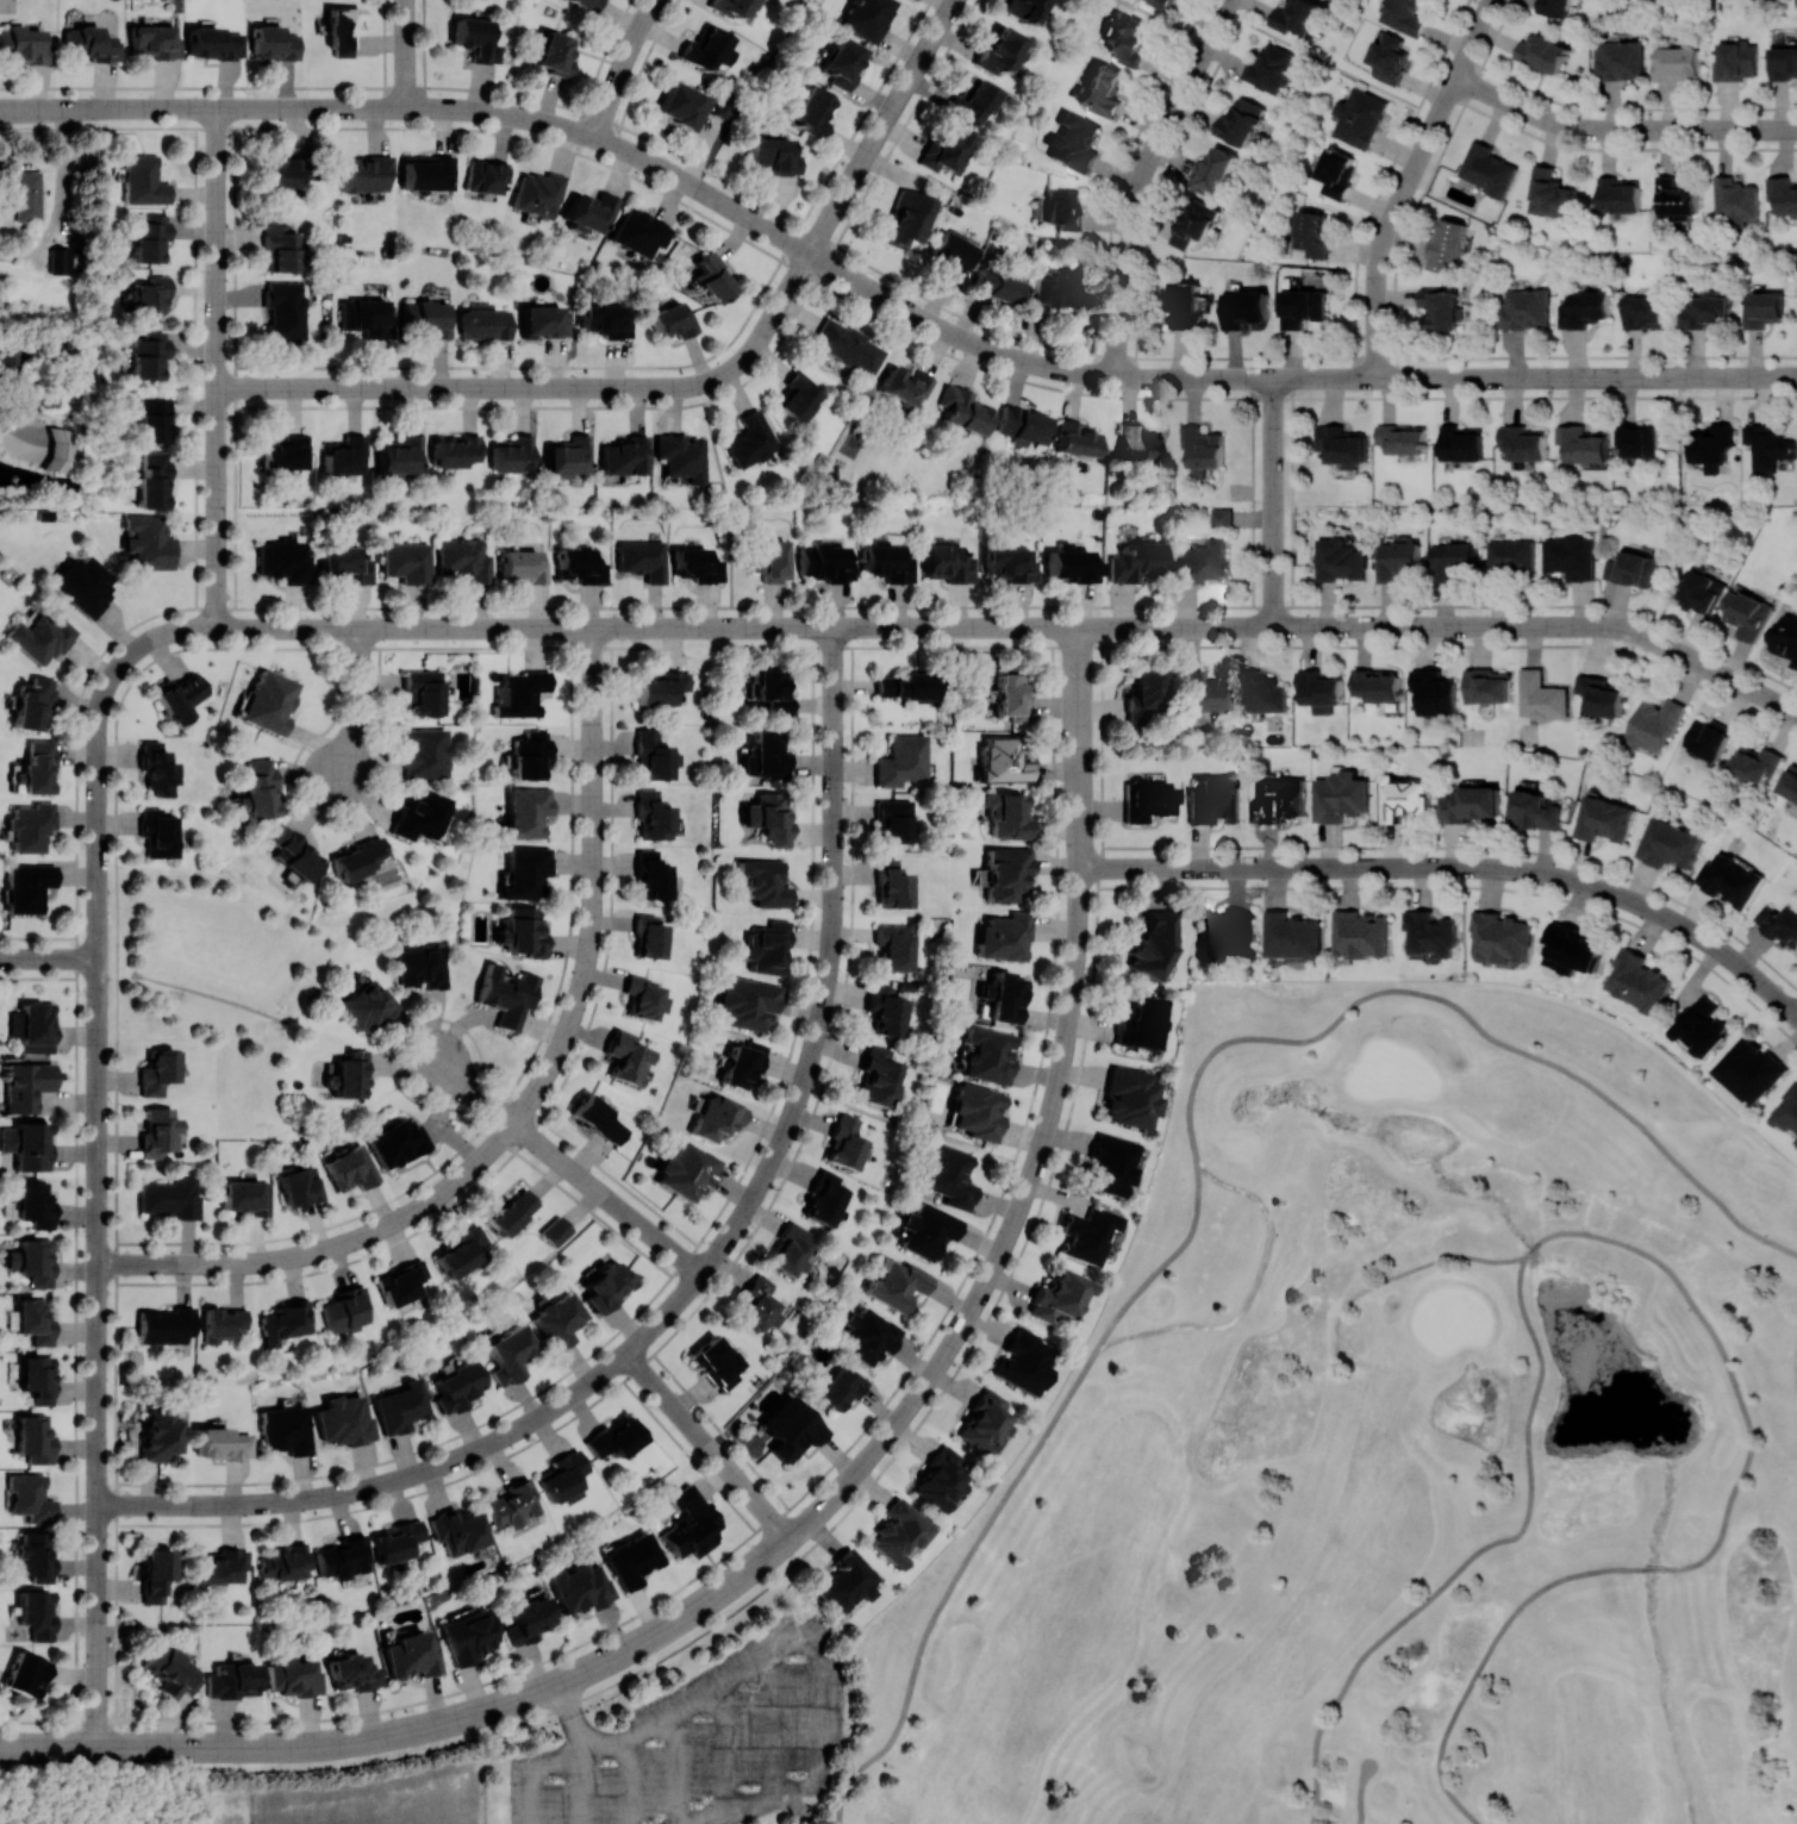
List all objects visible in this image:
building: (1160, 2)
building: (588, 4)
building: (1555, 7)
building: (1025, 8)
building: (1296, 15)
building: (1404, 15)
building: (868, 17)
road: (1154, 17)
building: (342, 31)
building: (1129, 38)
building: (475, 39)
building: (156, 40)
building: (273, 42)
building: (21, 43)
building: (92, 43)
building: (213, 43)
building: (709, 48)
building: (1000, 51)
building: (1542, 51)
building: (554, 52)
road: (407, 54)
building: (1387, 58)
building: (1617, 60)
building: (1734, 61)
building: (842, 62)
road: (1328, 62)
building: (1677, 63)
building: (1783, 63)
road: (623, 65)
building: (1269, 68)
building: (1103, 89)
building: (973, 101)
building: (684, 105)
road: (350, 107)
road: (30, 108)
road: (79, 108)
road: (201, 108)
building: (812, 111)
building: (1358, 117)
building: (1240, 121)
road: (885, 126)
road: (1620, 127)
building: (1074, 140)
building: (946, 151)
building: (774, 155)
building: (1213, 169)
building: (1487, 169)
building: (282, 170)
building: (364, 173)
building: (426, 173)
building: (1335, 173)
building: (485, 175)
road: (1117, 176)
road: (1140, 177)
road: (1158, 179)
building: (143, 180)
road: (1406, 182)
building: (538, 193)
building: (1549, 194)
building: (1783, 194)
building: (25, 195)
building: (1618, 195)
building: (1676, 198)
road: (60, 199)
building: (1733, 202)
building: (1063, 208)
building: (589, 211)
building: (907, 218)
building: (1194, 223)
building: (639, 232)
building: (1312, 232)
road: (785, 237)
building: (150, 238)
building: (1447, 245)
building: (280, 246)
road: (218, 248)
building: (953, 254)
building: (60, 258)
building: (712, 277)
building: (997, 286)
building: (1053, 288)
building: (151, 295)
building: (1184, 305)
building: (1302, 307)
building: (1442, 307)
building: (1243, 308)
building: (1524, 308)
building: (1583, 308)
building: (1703, 308)
building: (1762, 308)
building: (285, 311)
building: (1643, 312)
building: (366, 316)
building: (430, 318)
building: (607, 319)
building: (545, 320)
building: (673, 320)
building: (486, 321)
building: (848, 345)
building: (148, 354)
road: (1506, 376)
road: (1194, 379)
building: (905, 386)
road: (548, 387)
building: (798, 396)
building: (963, 410)
building: (154, 419)
building: (1022, 425)
building: (1078, 438)
building: (1402, 438)
building: (1636, 441)
building: (753, 442)
building: (1521, 442)
building: (1460, 443)
building: (1581, 443)
building: (1140, 444)
building: (1341, 445)
building: (1711, 445)
road: (218, 446)
building: (1767, 446)
building: (63, 449)
building: (1203, 449)
building: (455, 450)
building: (286, 452)
building: (513, 454)
building: (344, 455)
building: (401, 455)
building: (568, 456)
building: (625, 456)
building: (681, 456)
building: (152, 480)
road: (1677, 501)
road: (1269, 502)
road: (732, 504)
building: (1221, 517)
building: (148, 541)
building: (1511, 556)
building: (1571, 557)
building: (466, 558)
building: (643, 558)
building: (770, 558)
building: (1398, 558)
building: (1135, 560)
building: (1340, 560)
building: (1454, 560)
building: (285, 561)
building: (407, 561)
building: (887, 561)
building: (1199, 561)
building: (347, 562)
building: (825, 562)
building: (949, 563)
building: (1011, 563)
building: (1072, 563)
building: (581, 564)
building: (699, 564)
building: (524, 566)
road: (218, 567)
building: (1633, 569)
building: (85, 583)
building: (1702, 589)
building: (1746, 613)
road: (1496, 626)
road: (706, 627)
road: (1171, 627)
road: (232, 629)
road: (183, 630)
building: (1785, 637)
building: (40, 638)
road: (835, 675)
road: (1080, 679)
building: (906, 685)
building: (1375, 685)
building: (660, 686)
building: (1486, 686)
building: (1319, 689)
building: (770, 691)
building: (1434, 691)
building: (423, 692)
building: (522, 693)
building: (1144, 694)
building: (1263, 694)
building: (179, 695)
building: (1204, 695)
building: (1540, 695)
building: (1599, 695)
building: (1012, 697)
building: (269, 701)
building: (32, 704)
road: (360, 706)
building: (1653, 725)
road: (835, 726)
road: (1080, 738)
building: (1706, 738)
road: (99, 743)
building: (425, 752)
building: (768, 754)
building: (530, 755)
building: (655, 756)
building: (1003, 760)
building: (903, 761)
building: (1754, 764)
building: (37, 767)
building: (157, 768)
building: (1790, 782)
building: (258, 788)
building: (1340, 797)
building: (1403, 798)
building: (1148, 799)
building: (1213, 800)
building: (1278, 800)
building: (1468, 804)
road: (1080, 807)
building: (1535, 810)
building: (526, 812)
building: (419, 814)
building: (654, 816)
building: (1006, 816)
building: (768, 818)
building: (1604, 819)
building: (894, 820)
building: (30, 826)
building: (157, 832)
building: (1668, 844)
building: (293, 854)
building: (357, 857)
road: (1133, 868)
road: (1188, 868)
road: (1516, 870)
building: (525, 872)
building: (1006, 872)
building: (651, 875)
building: (1729, 880)
building: (765, 882)
building: (892, 885)
building: (26, 886)
road: (1470, 886)
building: (1779, 923)
building: (523, 930)
building: (1430, 932)
road: (1462, 932)
building: (1361, 933)
building: (1225, 935)
building: (650, 936)
building: (1292, 936)
building: (1004, 937)
building: (1499, 938)
building: (1152, 944)
building: (893, 947)
building: (768, 948)
building: (1571, 949)
road: (99, 954)
road: (49, 957)
building: (419, 966)
park: (229, 968)
building: (1639, 981)
building: (506, 994)
building: (1003, 997)
building: (645, 998)
building: (748, 1002)
building: (366, 1004)
building: (885, 1011)
building: (1140, 1022)
road: (1472, 1022)
building: (36, 1026)
building: (1701, 1027)
road: (560, 1049)
building: (987, 1054)
building: (628, 1057)
building: (743, 1063)
building: (1751, 1069)
building: (157, 1072)
building: (348, 1074)
building: (879, 1077)
building: (26, 1085)
road: (472, 1089)
building: (1130, 1095)
building: (978, 1111)
building: (1787, 1111)
building: (716, 1117)
building: (600, 1119)
road: (916, 1126)
building: (158, 1131)
building: (397, 1141)
building: (1796, 1142)
building: (27, 1143)
building: (846, 1143)
building: (1110, 1163)
building: (350, 1168)
building: (686, 1170)
building: (948, 1176)
building: (298, 1185)
building: (245, 1195)
building: (171, 1197)
building: (824, 1198)
road: (610, 1199)
building: (35, 1203)
building: (511, 1211)
building: (925, 1230)
building: (556, 1231)
building: (1087, 1233)
road: (1004, 1245)
road: (1533, 1248)
building: (792, 1249)
building: (461, 1250)
building: (32, 1261)
road: (148, 1263)
road: (207, 1263)
road: (1405, 1270)
building: (403, 1282)
building: (606, 1285)
building: (896, 1285)
road: (1252, 1295)
building: (1056, 1297)
building: (761, 1305)
building: (345, 1308)
road: (669, 1312)
road: (99, 1313)
building: (35, 1319)
building: (560, 1319)
building: (286, 1322)
building: (223, 1323)
building: (166, 1324)
building: (866, 1335)
building: (507, 1353)
building: (717, 1362)
building: (1023, 1362)
road: (1726, 1363)
building: (37, 1378)
building: (458, 1385)
building: (836, 1387)
building: (400, 1406)
building: (344, 1420)
building: (984, 1423)
building: (790, 1428)
building: (285, 1429)
building: (158, 1432)
building: (33, 1438)
building: (614, 1438)
building: (221, 1443)
road: (707, 1445)
road: (823, 1473)
building: (563, 1475)
building: (940, 1479)
road: (1013, 1488)
park: (1294, 1489)
building: (29, 1497)
building: (513, 1504)
building: (690, 1523)
building: (458, 1530)
building: (898, 1532)
building: (397, 1542)
road: (1477, 1553)
building: (35, 1556)
building: (343, 1556)
building: (632, 1558)
building: (285, 1562)
building: (223, 1566)
road: (1653, 1569)
building: (156, 1573)
building: (846, 1581)
building: (581, 1586)
road: (98, 1606)
building: (36, 1612)
building: (528, 1618)
building: (468, 1635)
road: (820, 1649)
building: (412, 1655)
road: (1485, 1657)
building: (170, 1670)
building: (352, 1672)
building: (26, 1674)
building: (294, 1675)
building: (233, 1680)
road: (98, 1686)
road: (532, 1693)
road: (573, 1717)
parking lot: (706, 1742)
road: (131, 1745)
road: (536, 1772)
road: (1360, 1792)

